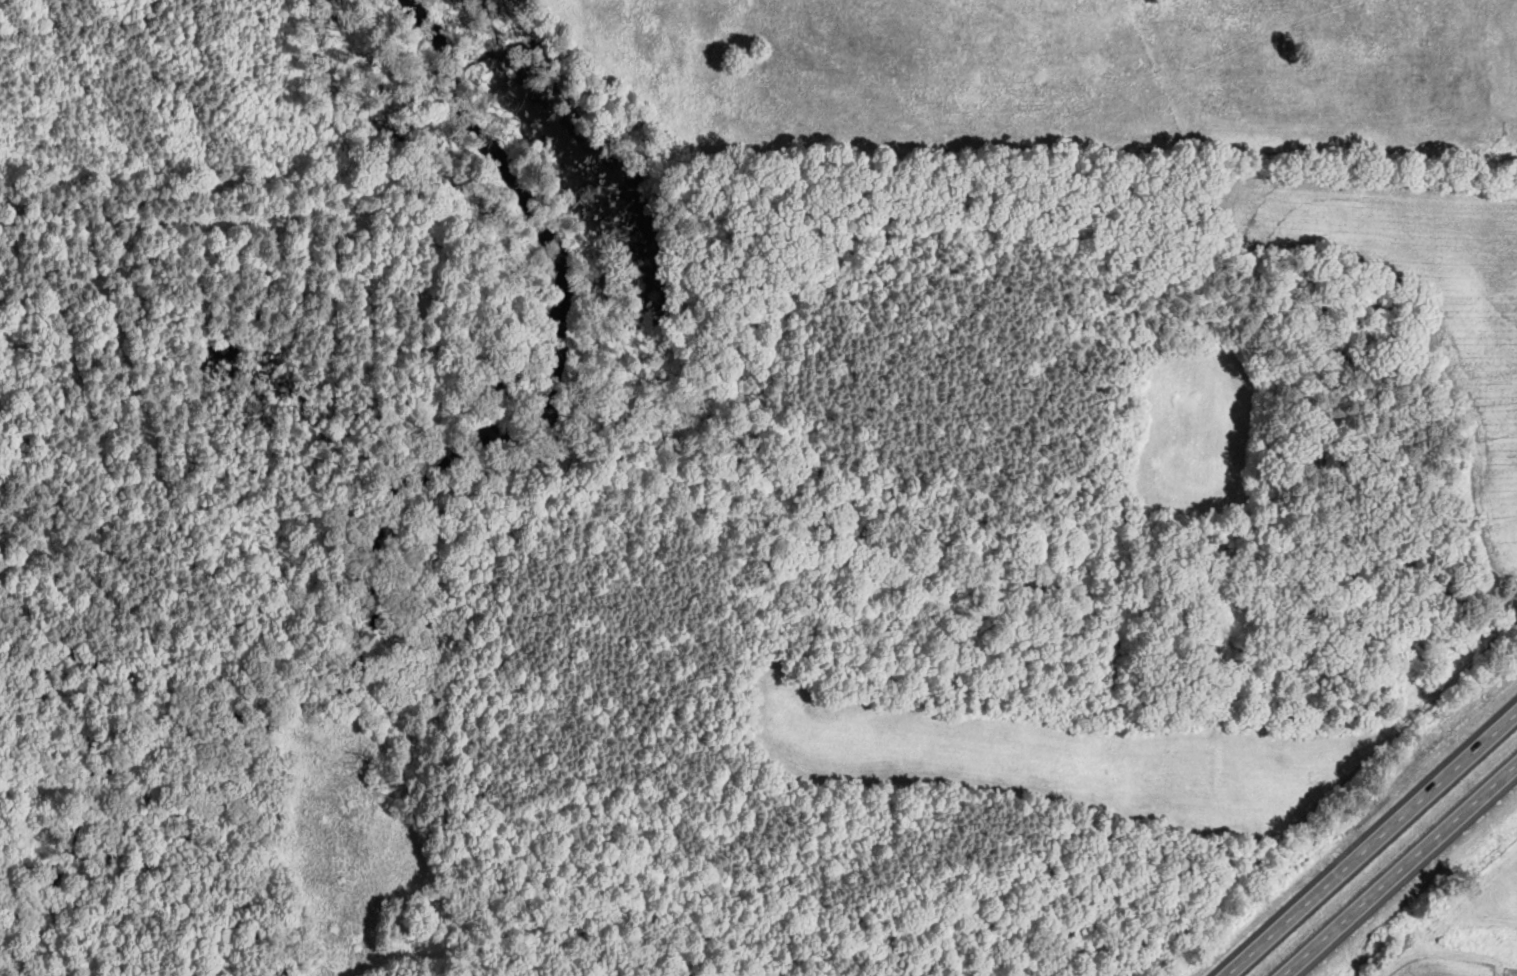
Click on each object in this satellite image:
road: (1506, 620)
road: (1367, 840)
road: (1399, 868)

